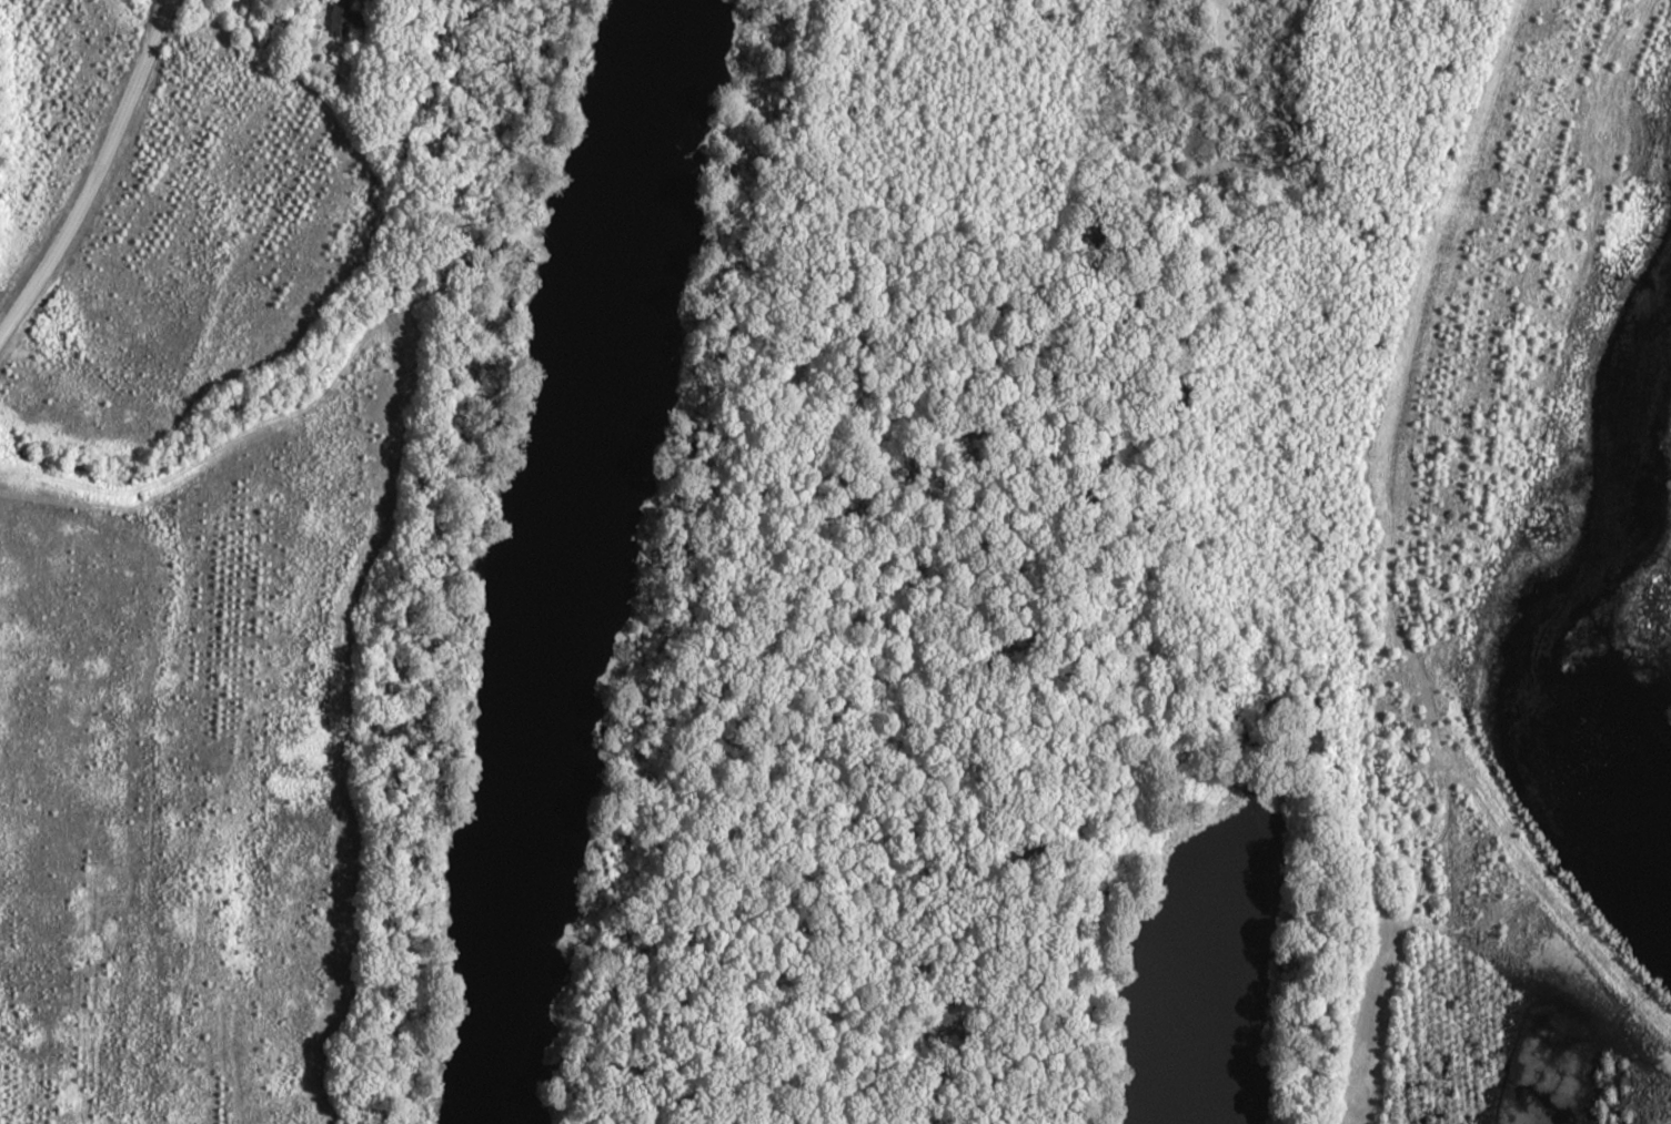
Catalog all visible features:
road: (97, 173)
road: (1520, 990)

